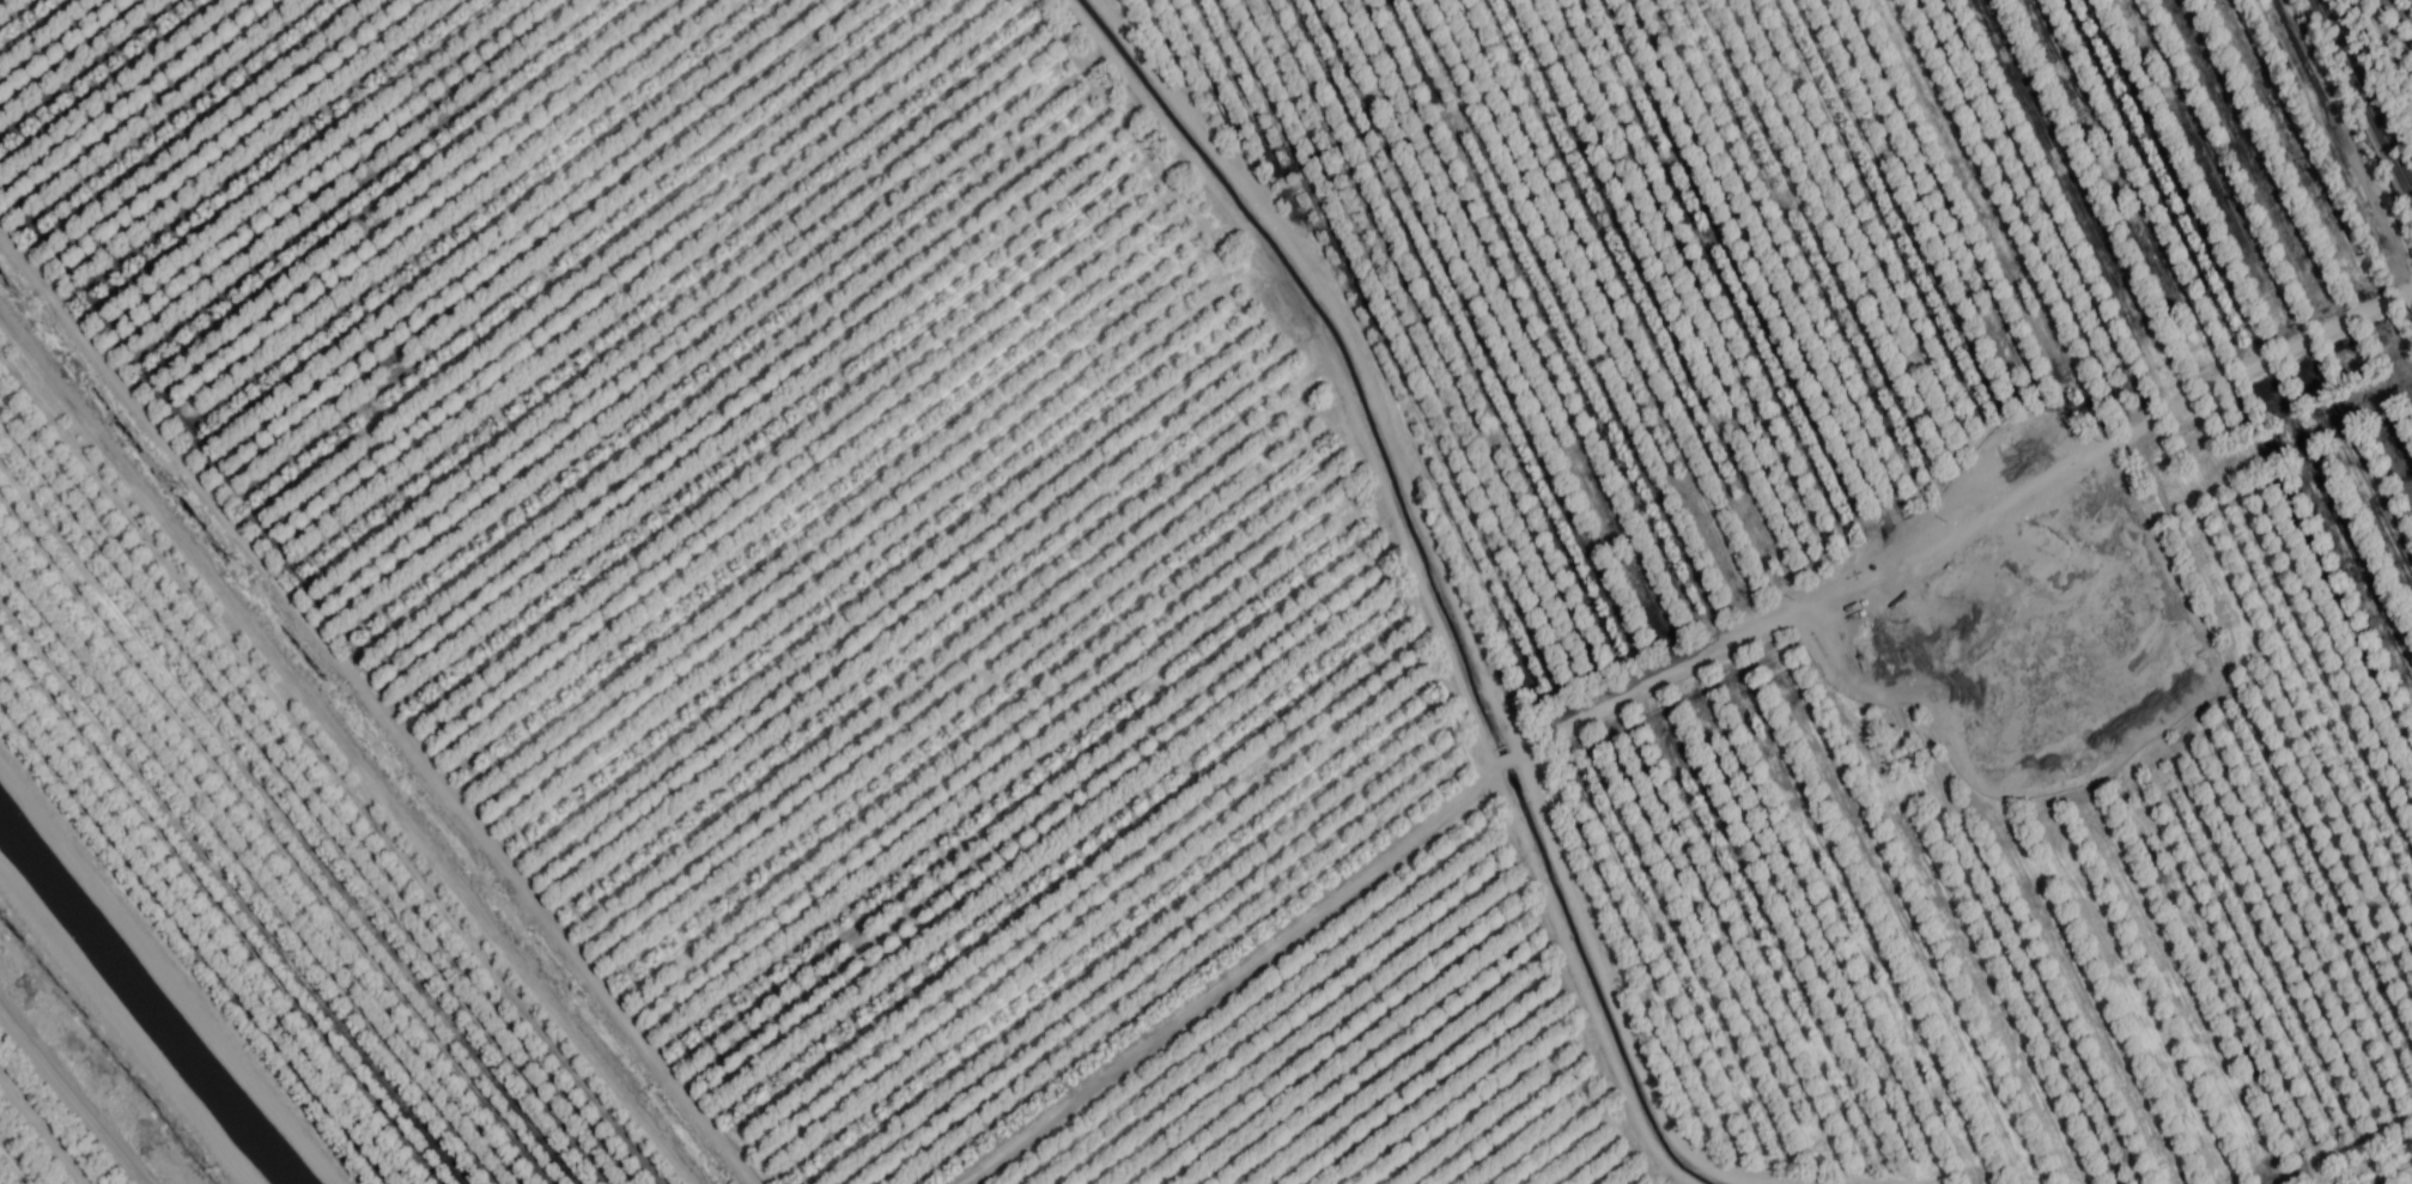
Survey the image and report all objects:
road: (2362, 99)
road: (1452, 583)
road: (168, 973)
road: (122, 1030)

